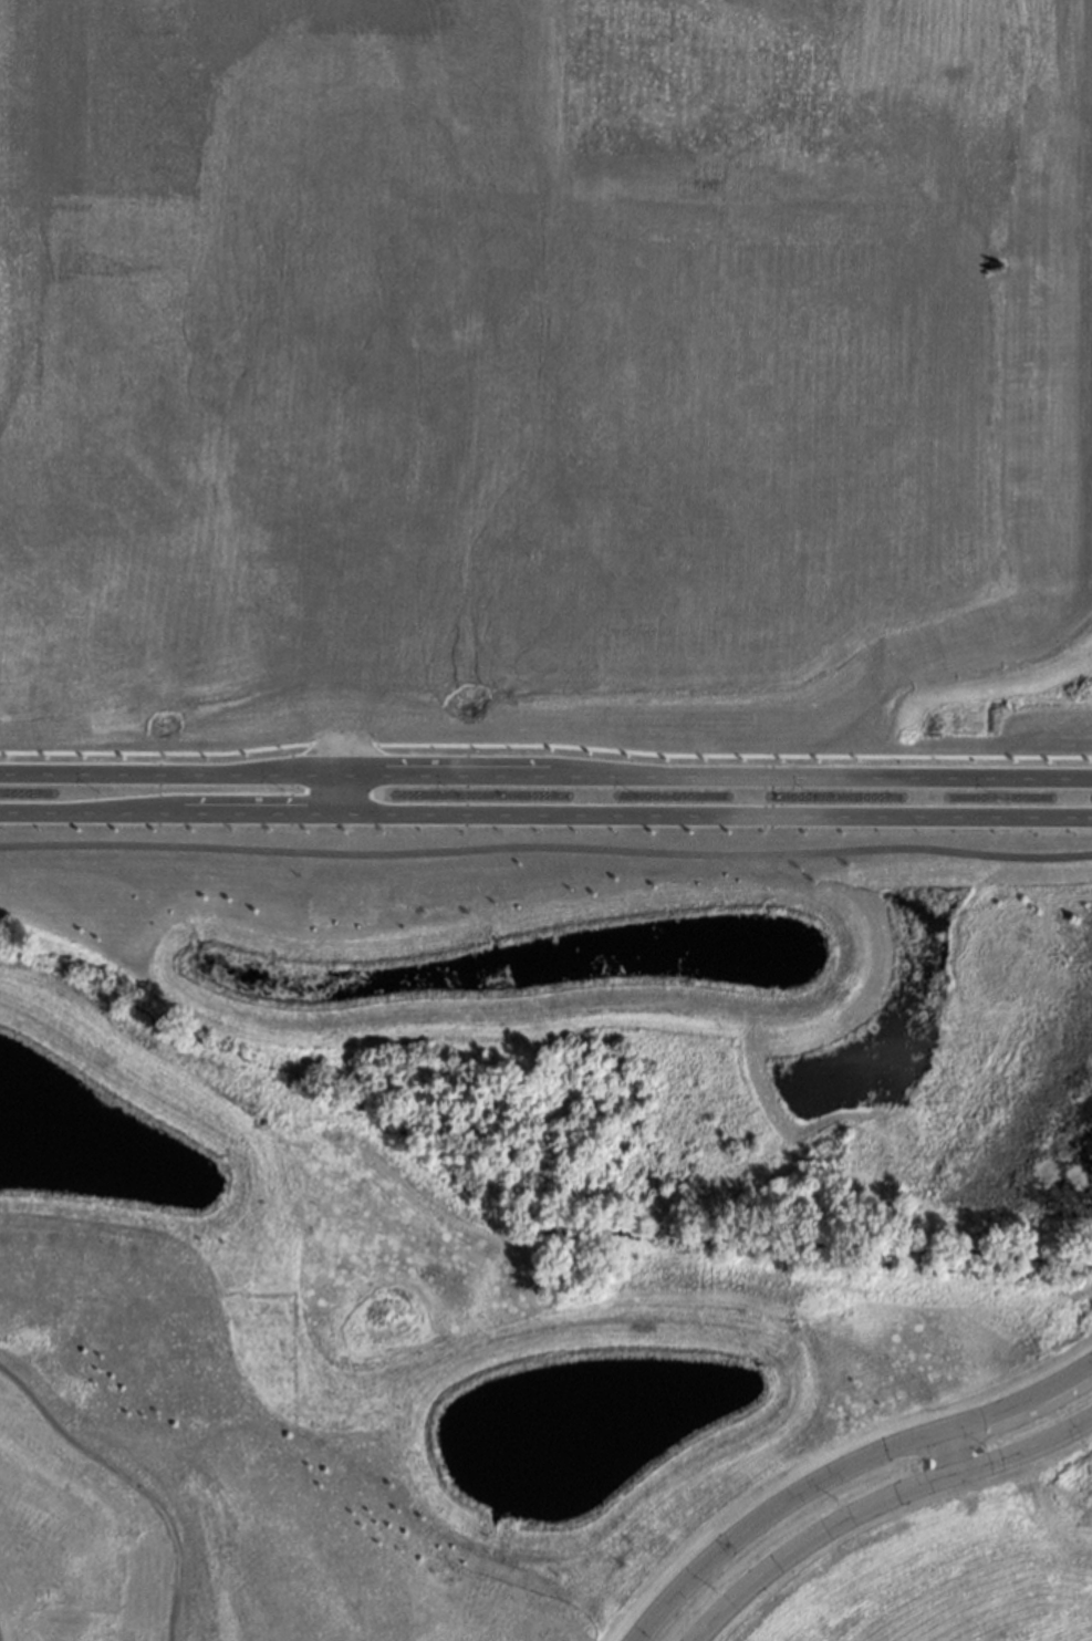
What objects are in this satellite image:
building: (435, 113)
road: (343, 754)
road: (171, 772)
road: (505, 773)
road: (878, 778)
road: (343, 794)
road: (35, 814)
road: (207, 816)
road: (717, 817)
road: (545, 848)
road: (1019, 1405)
road: (950, 1454)
road: (767, 1508)
road: (873, 1508)

